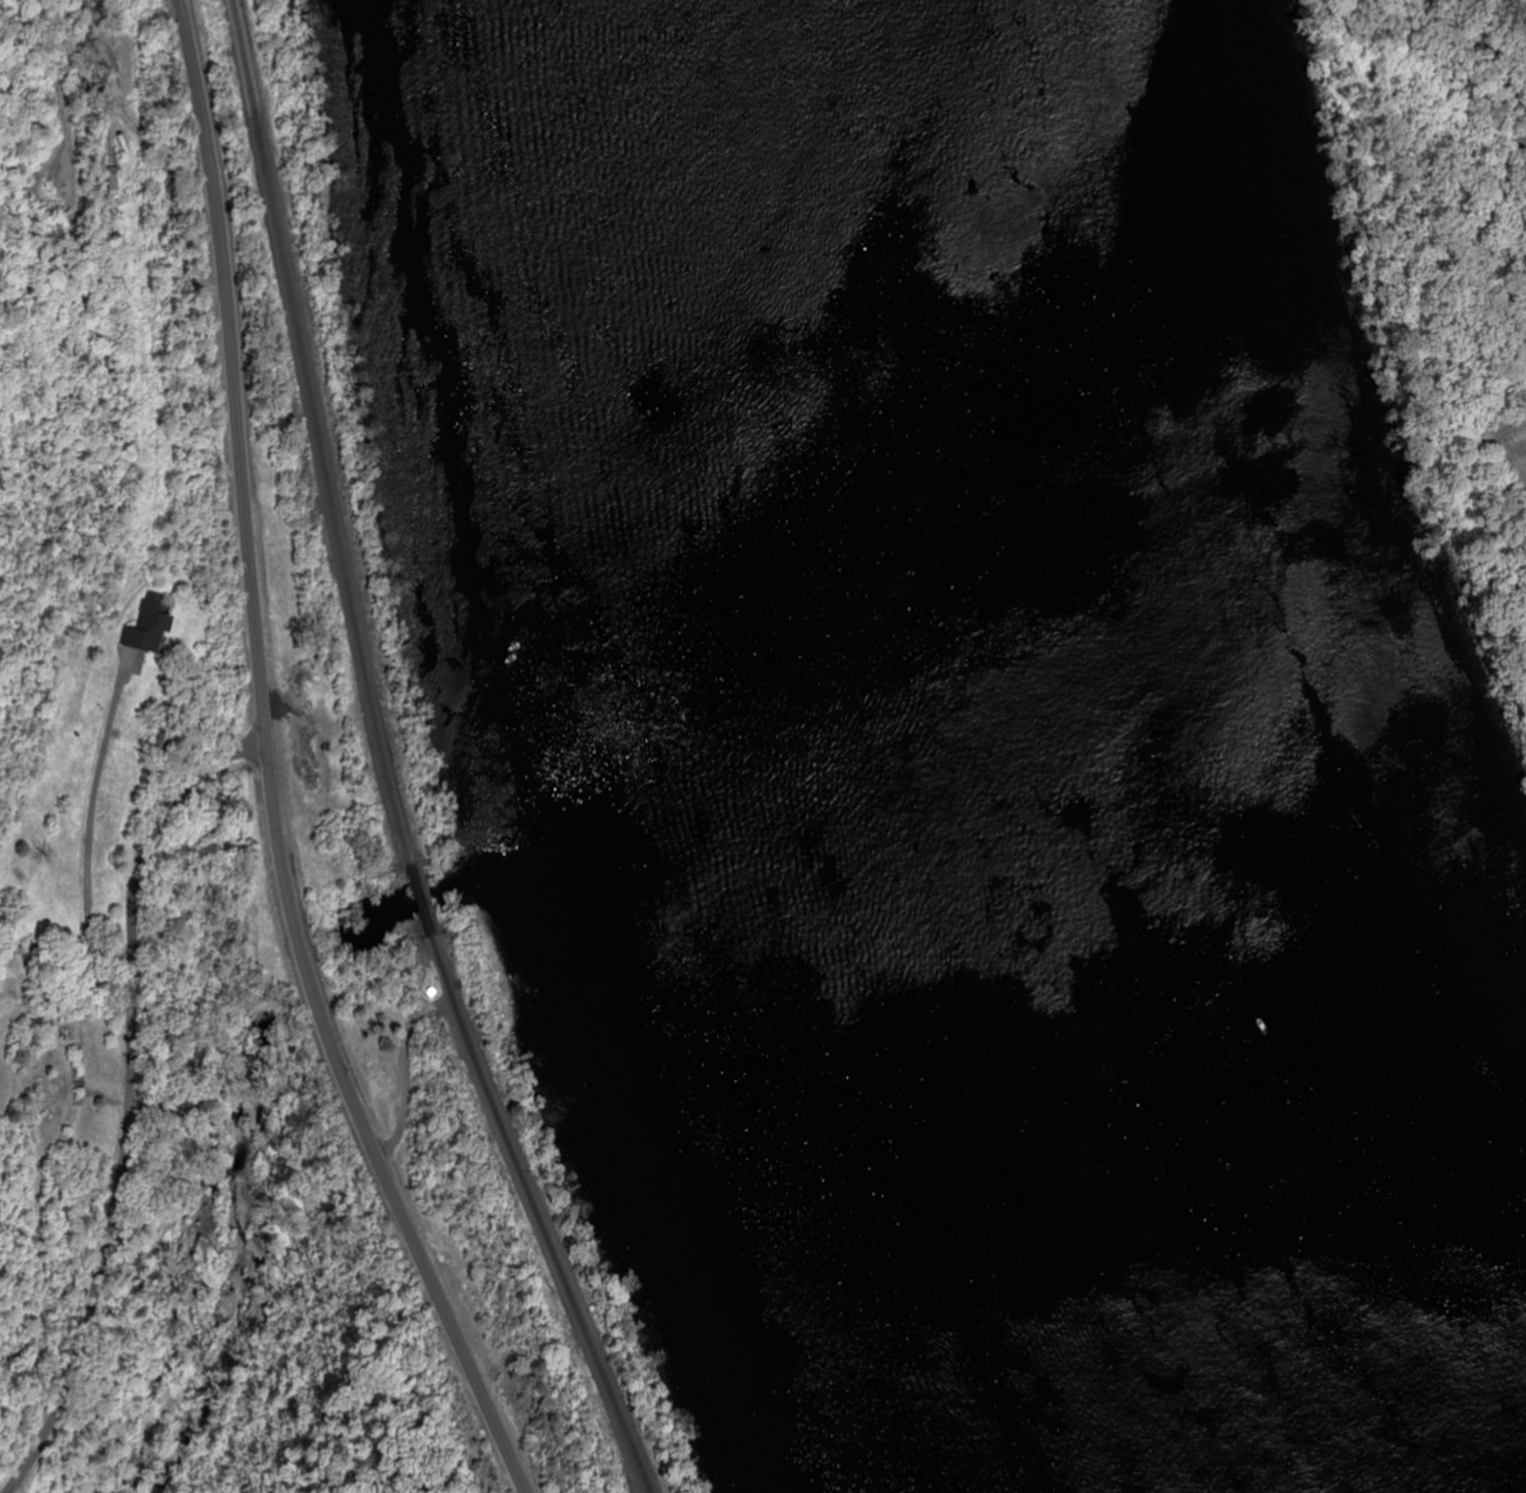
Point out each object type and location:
railway: (309, 434)
building: (150, 626)
building: (157, 743)
road: (267, 767)
river: (952, 769)
railway: (419, 904)
road: (129, 1097)
railway: (534, 1218)

